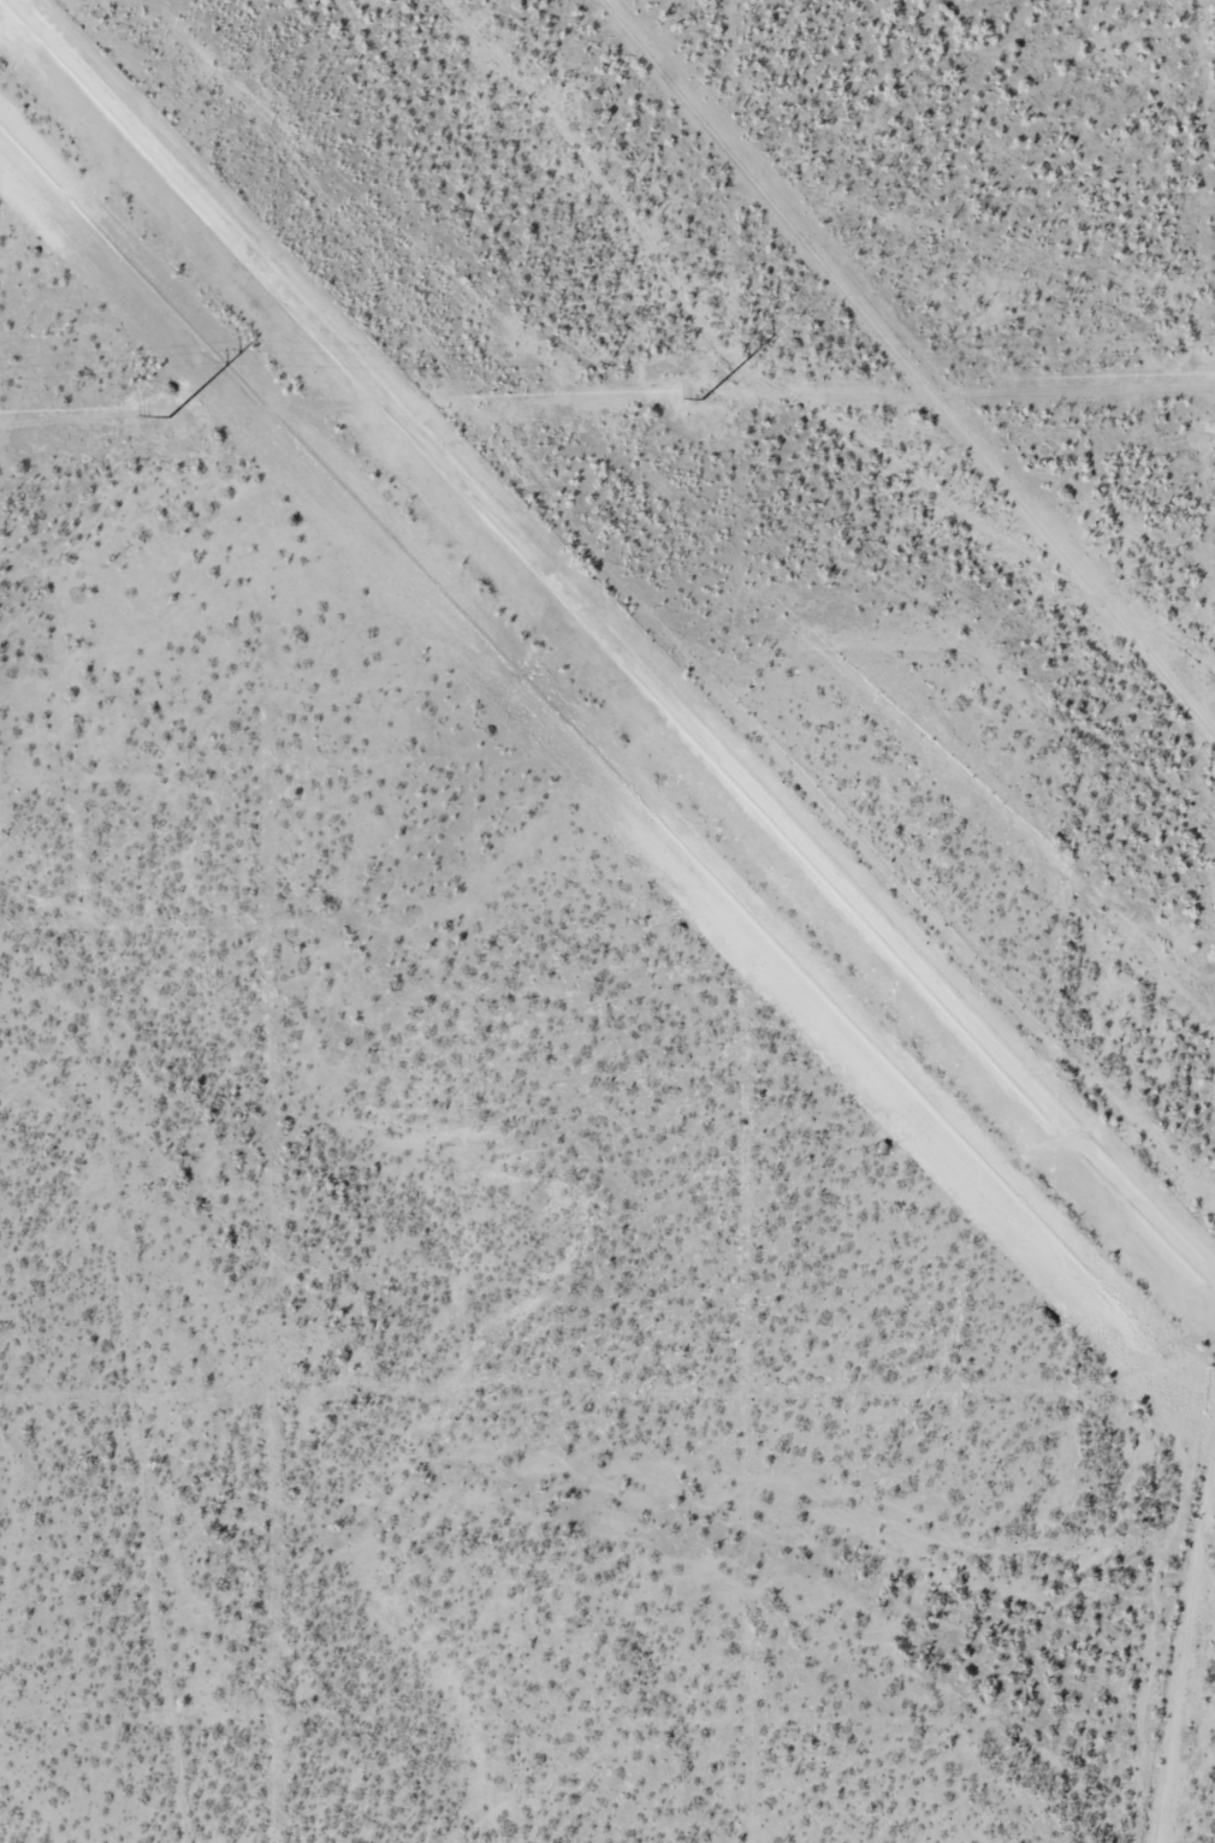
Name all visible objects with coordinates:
power tower: (695, 397)
power tower: (166, 414)
road: (675, 481)
road: (1161, 1632)

